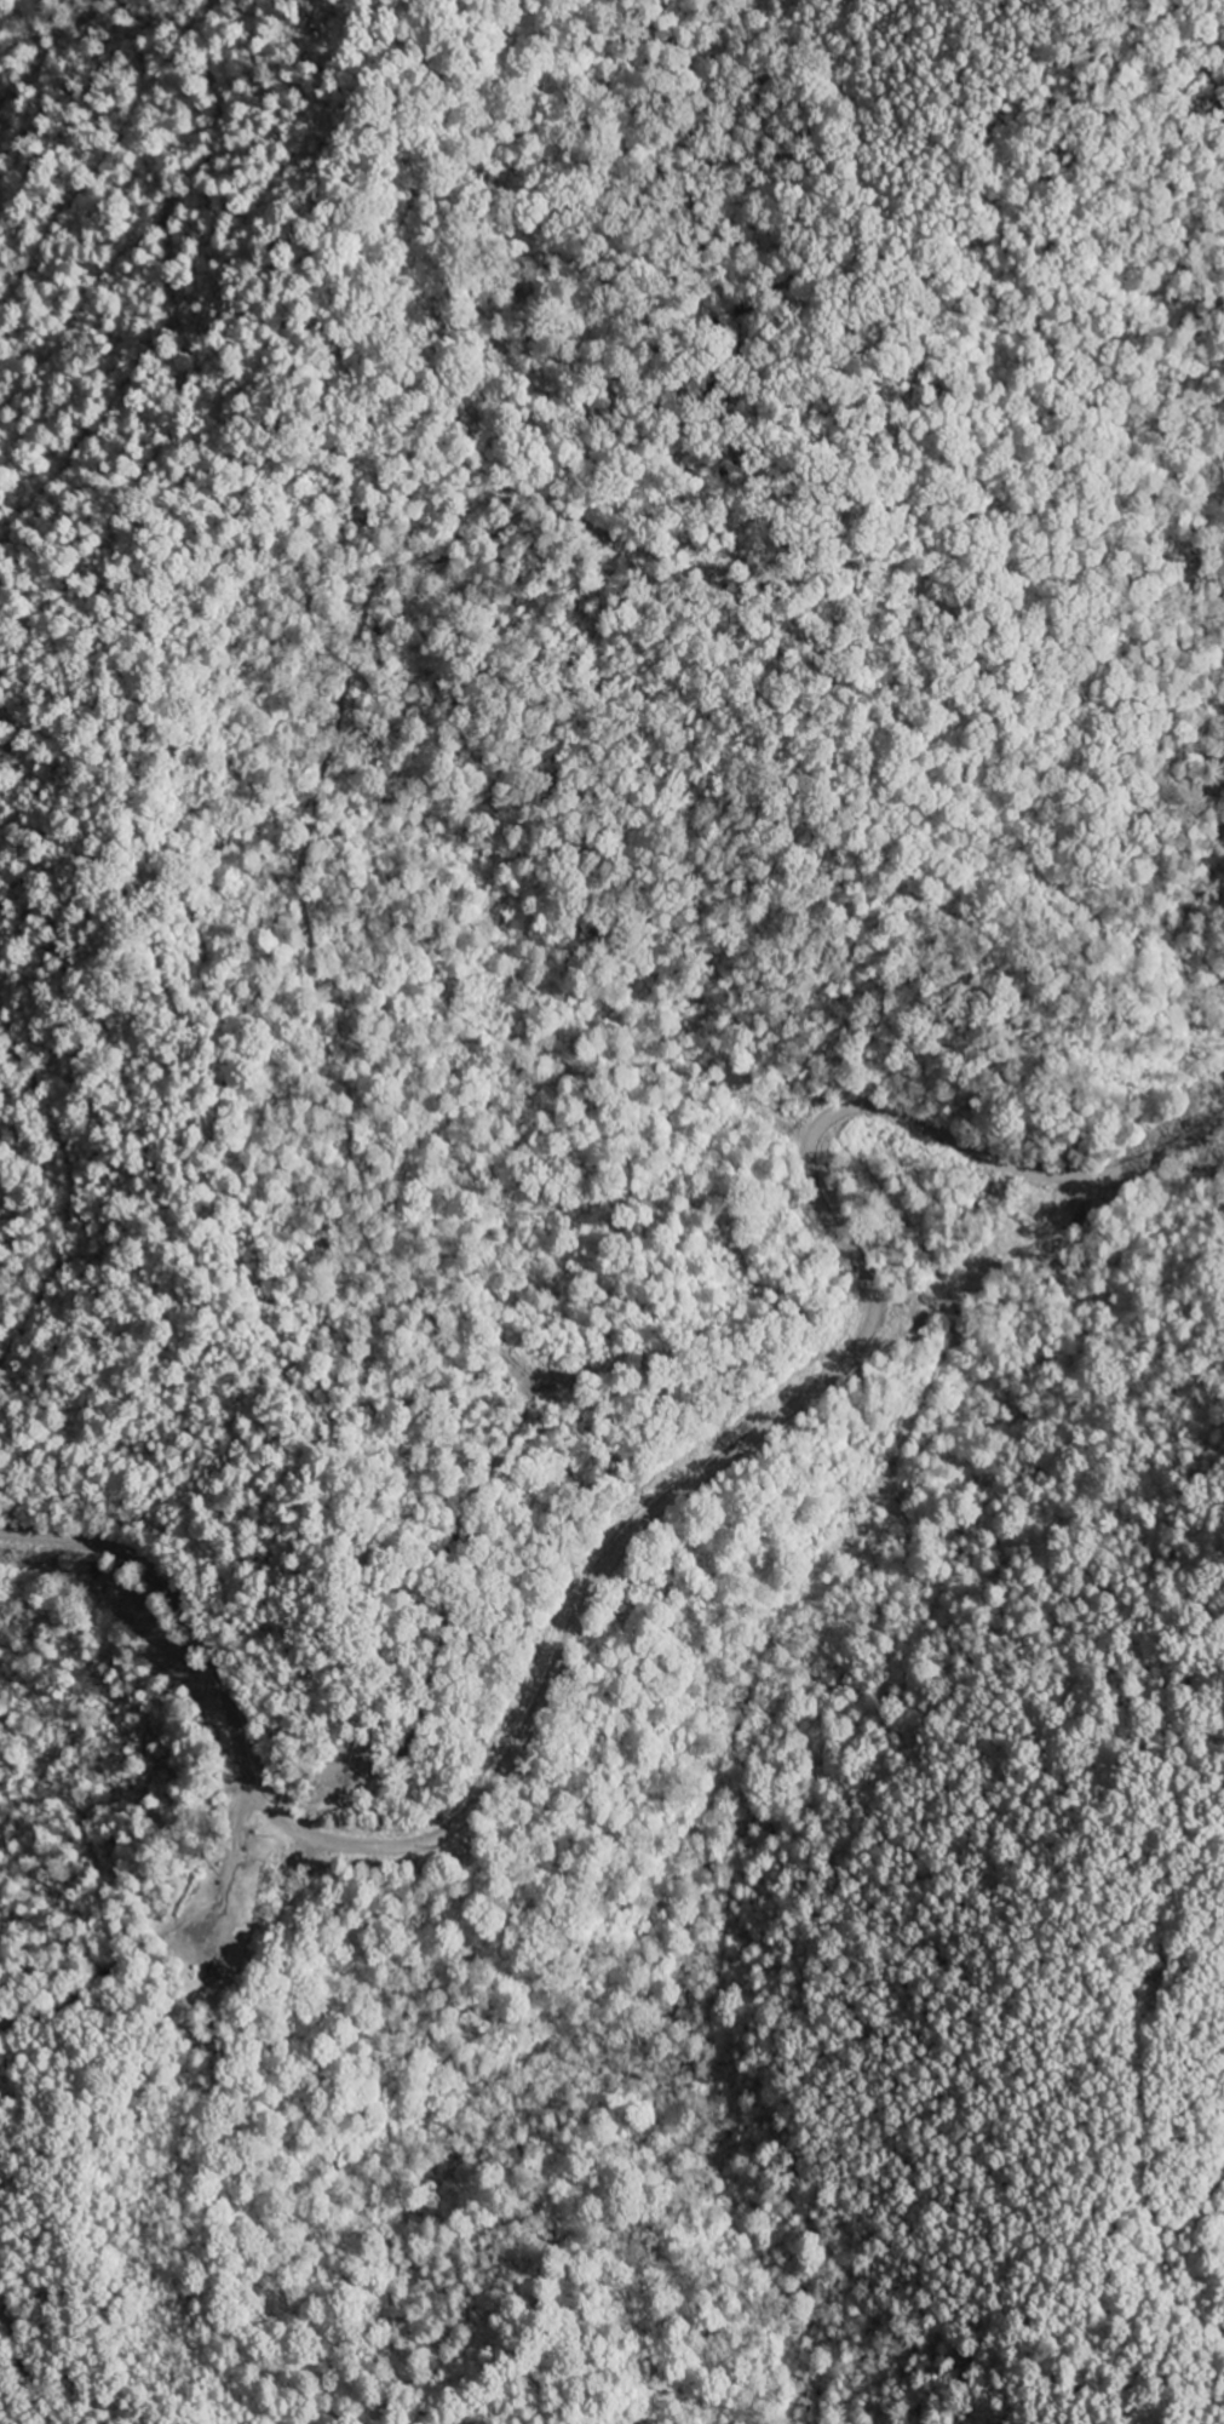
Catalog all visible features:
road: (628, 1537)
road: (338, 1800)

